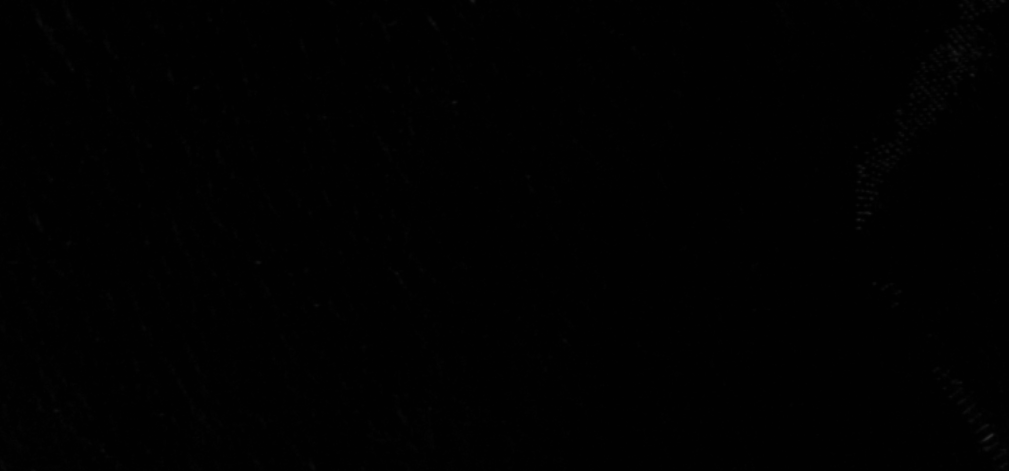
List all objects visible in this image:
river: (231, 235)

